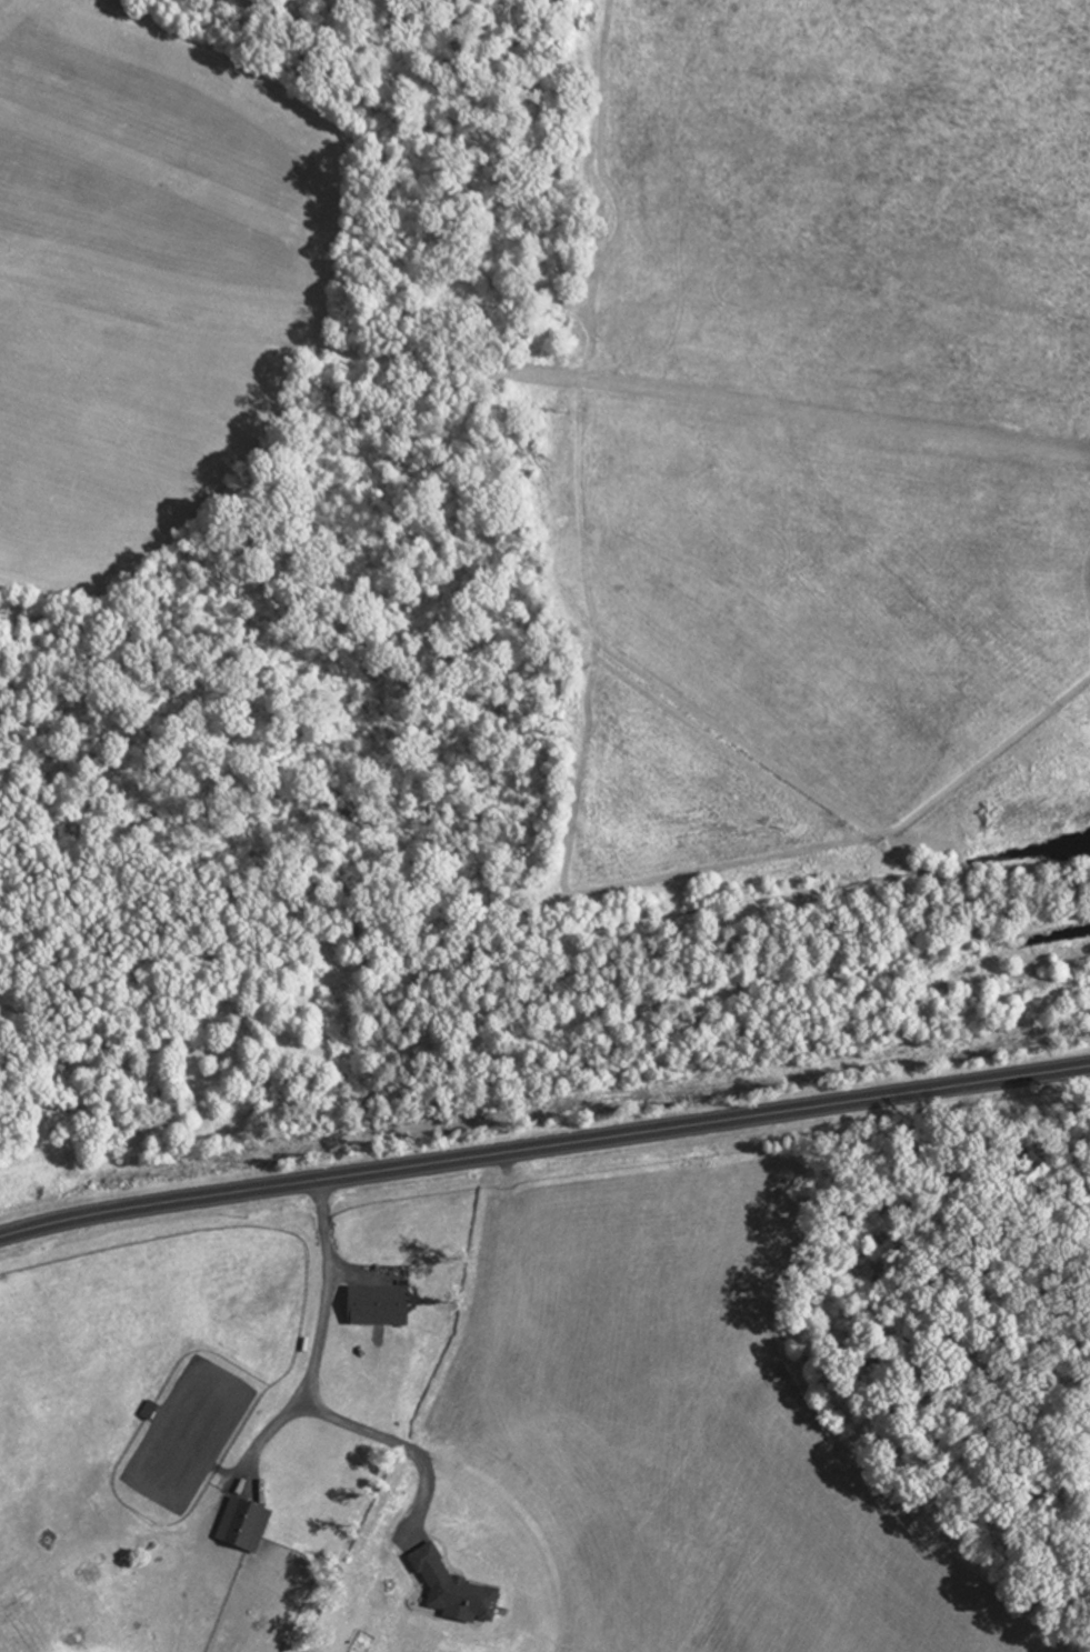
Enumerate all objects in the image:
road: (543, 1135)
road: (308, 1378)
crop: (661, 1459)
building: (452, 1590)

